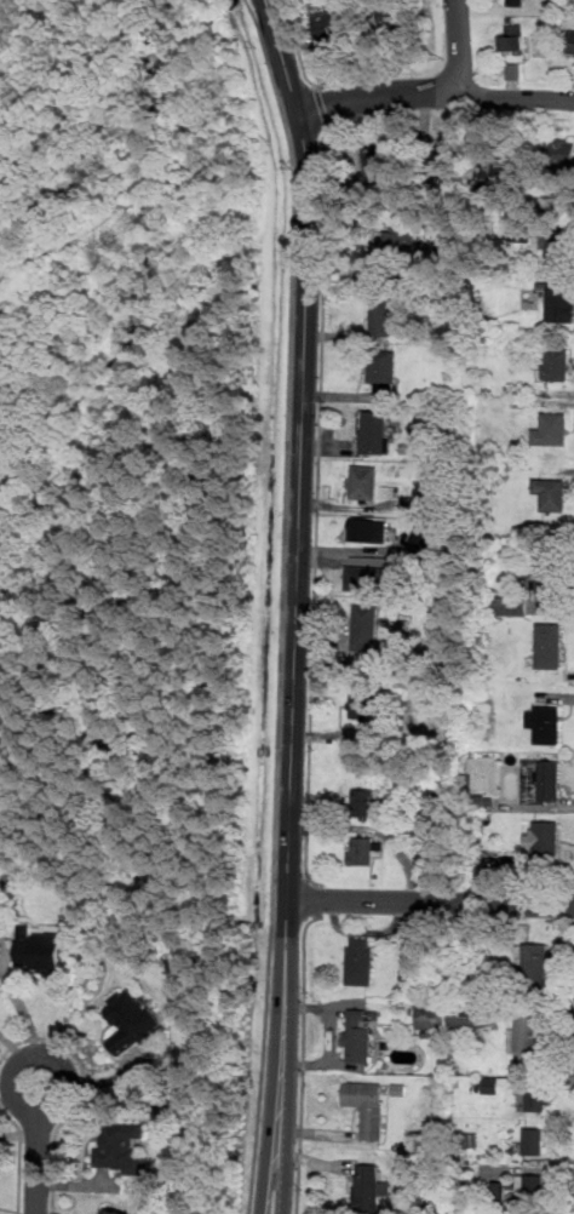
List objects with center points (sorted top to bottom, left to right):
building: (517, 2)
building: (397, 13)
building: (332, 23)
building: (513, 38)
building: (572, 44)
road: (458, 46)
road: (435, 92)
building: (563, 150)
building: (441, 156)
building: (379, 160)
building: (499, 168)
building: (521, 227)
building: (400, 237)
building: (557, 246)
building: (561, 300)
building: (381, 319)
building: (555, 362)
building: (383, 370)
building: (551, 429)
building: (374, 430)
road: (320, 440)
road: (303, 460)
building: (365, 481)
building: (551, 492)
building: (414, 504)
building: (369, 529)
building: (547, 574)
building: (366, 577)
road: (283, 603)
building: (511, 605)
building: (365, 628)
building: (550, 645)
building: (360, 706)
building: (545, 721)
building: (543, 780)
building: (366, 801)
building: (546, 837)
building: (362, 849)
road: (315, 899)
road: (430, 900)
building: (41, 950)
building: (361, 960)
building: (536, 963)
building: (432, 1013)
road: (21, 1015)
building: (463, 1018)
building: (130, 1019)
building: (358, 1033)
building: (532, 1033)
road: (10, 1047)
road: (304, 1061)
road: (274, 1070)
road: (292, 1070)
road: (108, 1076)
building: (492, 1083)
road: (82, 1095)
building: (539, 1096)
road: (6, 1098)
building: (367, 1106)
road: (38, 1110)
road: (19, 1135)
building: (534, 1140)
building: (121, 1147)
road: (18, 1156)
road: (36, 1162)
road: (74, 1182)
building: (532, 1186)
building: (367, 1187)
road: (8, 1208)
building: (117, 1212)

